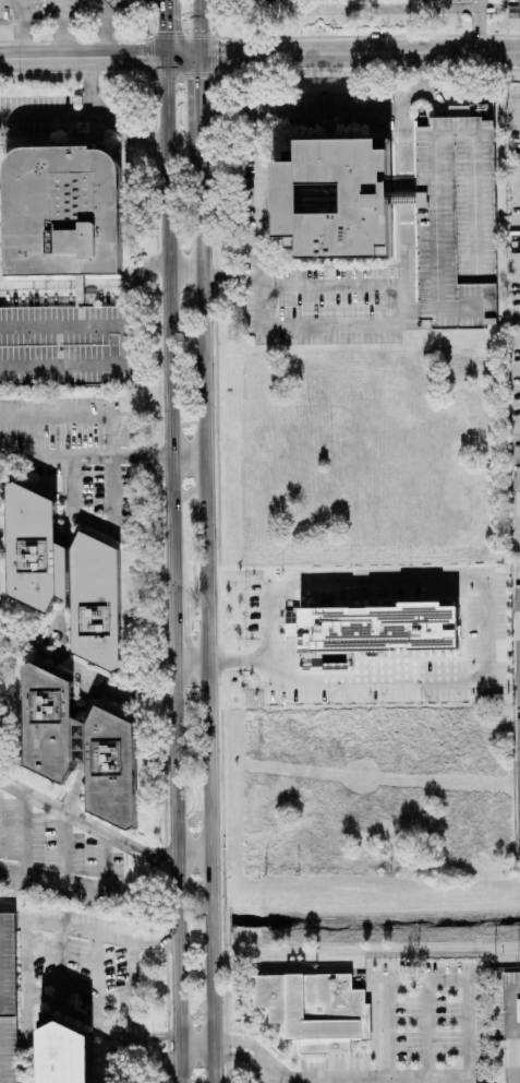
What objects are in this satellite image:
building: (112, 2)
road: (436, 3)
road: (379, 8)
road: (14, 10)
road: (477, 25)
road: (112, 27)
road: (162, 27)
road: (196, 27)
road: (27, 28)
road: (62, 28)
road: (349, 36)
road: (341, 52)
traffic signals: (162, 55)
traffic signals: (196, 55)
road: (81, 57)
road: (361, 69)
road: (418, 69)
road: (196, 88)
road: (46, 109)
road: (299, 109)
road: (401, 160)
road: (256, 197)
building: (332, 198)
building: (62, 211)
parking lot: (454, 222)
building: (455, 222)
road: (183, 271)
road: (229, 276)
road: (87, 287)
road: (403, 297)
road: (258, 308)
road: (409, 311)
road: (167, 321)
building: (60, 344)
parking lot: (63, 346)
road: (73, 414)
road: (185, 455)
road: (81, 460)
road: (75, 486)
building: (63, 574)
road: (474, 590)
road: (204, 603)
road: (171, 626)
building: (378, 628)
building: (517, 633)
road: (189, 663)
building: (78, 743)
road: (86, 823)
road: (192, 852)
road: (177, 872)
road: (80, 885)
road: (358, 957)
road: (26, 960)
road: (515, 990)
building: (7, 999)
parking garage: (7, 999)
building: (313, 1010)
building: (517, 1010)
road: (426, 1028)
road: (515, 1030)
road: (509, 1037)
road: (235, 1043)
road: (194, 1047)
building: (511, 1051)
building: (65, 1052)
road: (233, 1054)
road: (464, 1078)
road: (318, 1079)

